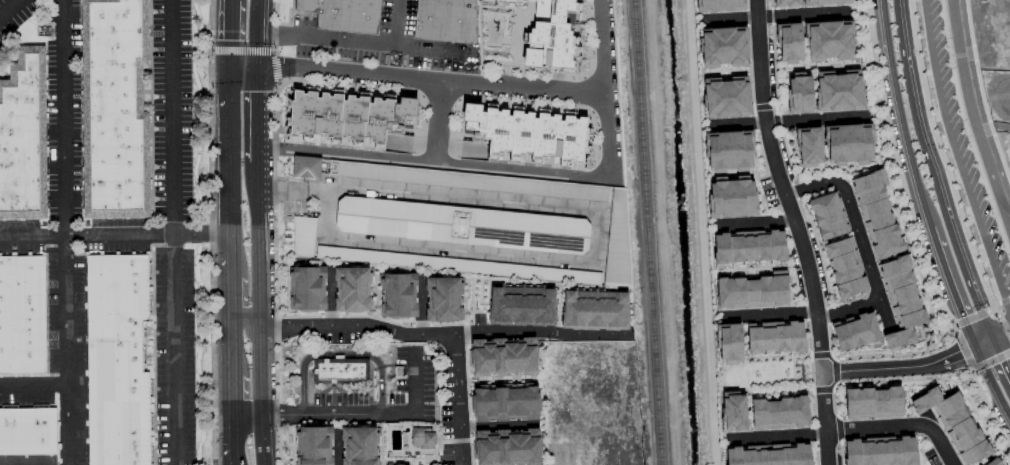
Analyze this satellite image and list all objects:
road: (234, 1)
building: (824, 2)
building: (785, 3)
building: (719, 5)
road: (9, 6)
building: (342, 14)
building: (444, 20)
road: (392, 23)
road: (257, 33)
building: (550, 34)
road: (232, 35)
building: (828, 40)
building: (788, 42)
road: (356, 44)
building: (723, 47)
road: (602, 48)
traffic signals: (257, 68)
traffic signals: (230, 69)
road: (417, 81)
building: (838, 90)
building: (798, 93)
building: (725, 97)
building: (113, 109)
road: (916, 113)
road: (898, 116)
road: (257, 117)
building: (346, 117)
road: (175, 118)
road: (972, 118)
road: (815, 119)
road: (438, 124)
building: (528, 133)
building: (23, 135)
road: (608, 139)
building: (847, 143)
building: (808, 146)
building: (728, 151)
road: (956, 159)
road: (434, 164)
building: (306, 167)
road: (230, 172)
flagpole: (288, 175)
building: (465, 181)
building: (731, 198)
building: (875, 214)
building: (827, 215)
road: (599, 219)
building: (461, 225)
road: (797, 231)
road: (65, 232)
railway: (645, 232)
road: (114, 236)
building: (303, 236)
building: (617, 243)
road: (859, 245)
building: (748, 246)
road: (258, 247)
building: (456, 265)
building: (844, 267)
road: (965, 283)
building: (306, 288)
road: (949, 288)
building: (351, 289)
road: (231, 290)
building: (752, 291)
building: (398, 295)
building: (443, 299)
building: (900, 301)
building: (521, 304)
building: (594, 309)
road: (773, 312)
building: (22, 314)
road: (243, 320)
road: (357, 328)
building: (855, 332)
road: (999, 332)
road: (232, 337)
road: (539, 337)
building: (774, 337)
building: (728, 342)
road: (981, 343)
road: (175, 350)
road: (342, 355)
building: (503, 357)
building: (116, 361)
road: (999, 363)
road: (899, 366)
road: (259, 370)
building: (340, 371)
road: (991, 385)
road: (33, 386)
road: (233, 389)
road: (458, 401)
building: (872, 402)
building: (505, 404)
road: (246, 411)
road: (281, 411)
road: (389, 411)
building: (733, 411)
building: (778, 413)
building: (953, 423)
building: (27, 431)
road: (848, 431)
road: (234, 438)
road: (262, 438)
building: (421, 438)
building: (312, 445)
building: (358, 446)
building: (507, 447)
building: (879, 451)
building: (768, 456)
building: (994, 462)

